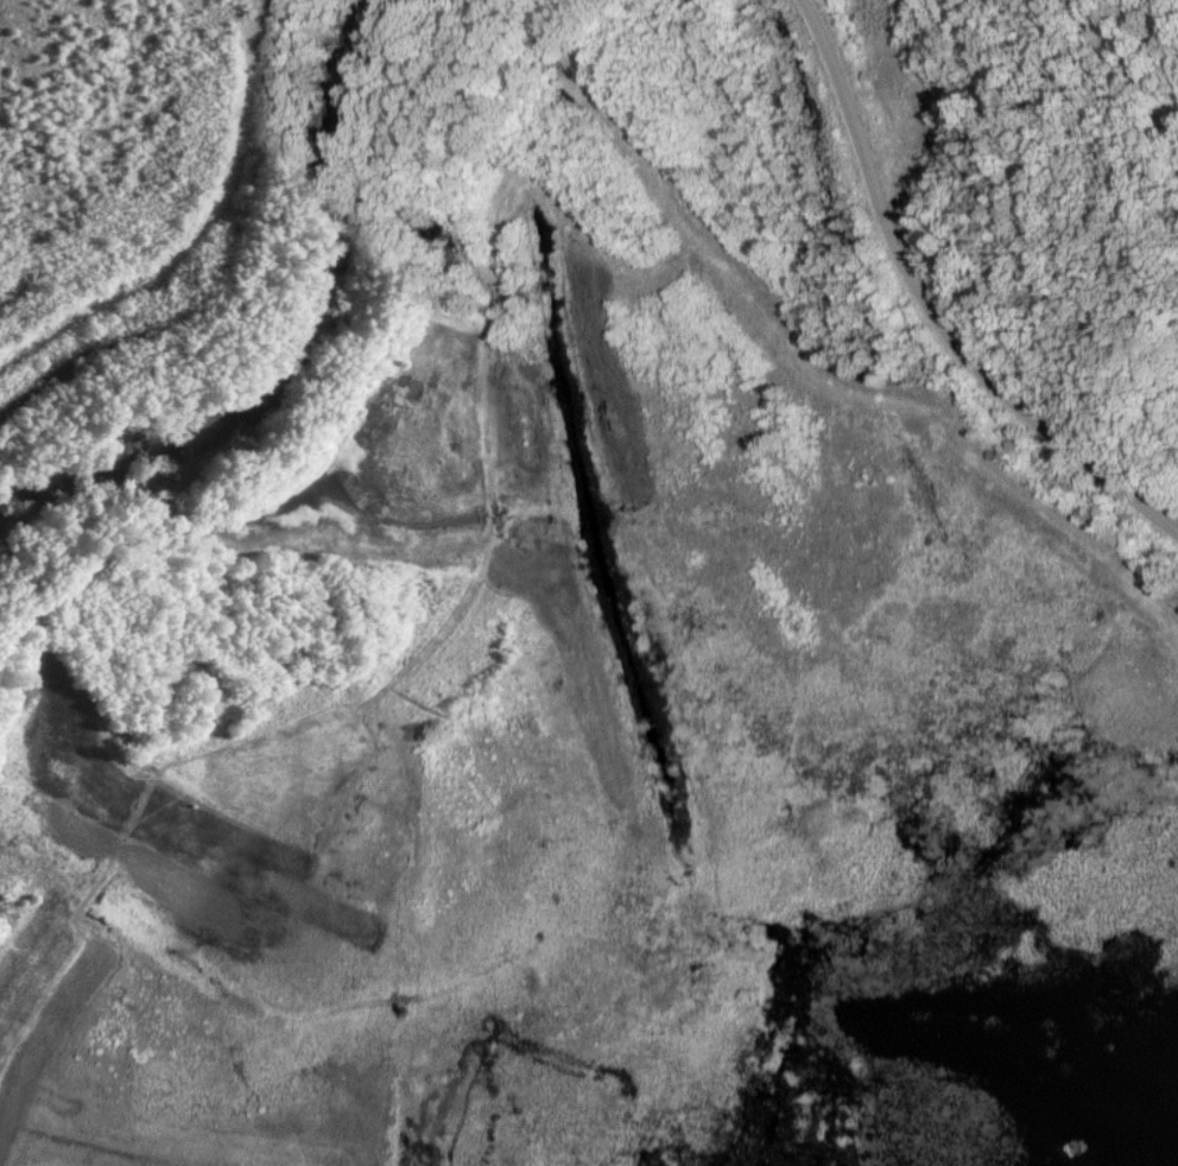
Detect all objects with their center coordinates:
road: (930, 312)

